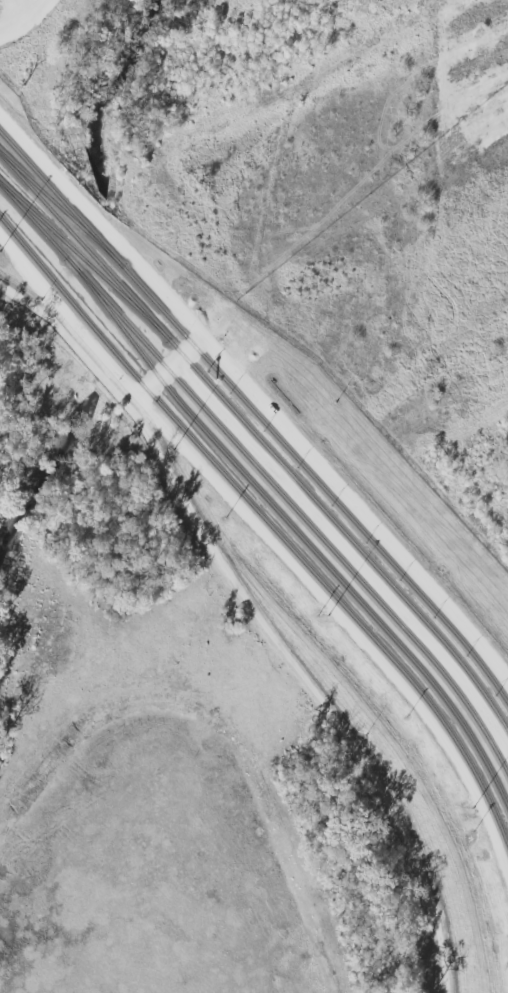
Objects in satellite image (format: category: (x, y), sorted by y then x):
road: (18, 18)
road: (163, 371)
road: (256, 400)
railway: (259, 443)
railway: (270, 527)
road: (259, 618)

